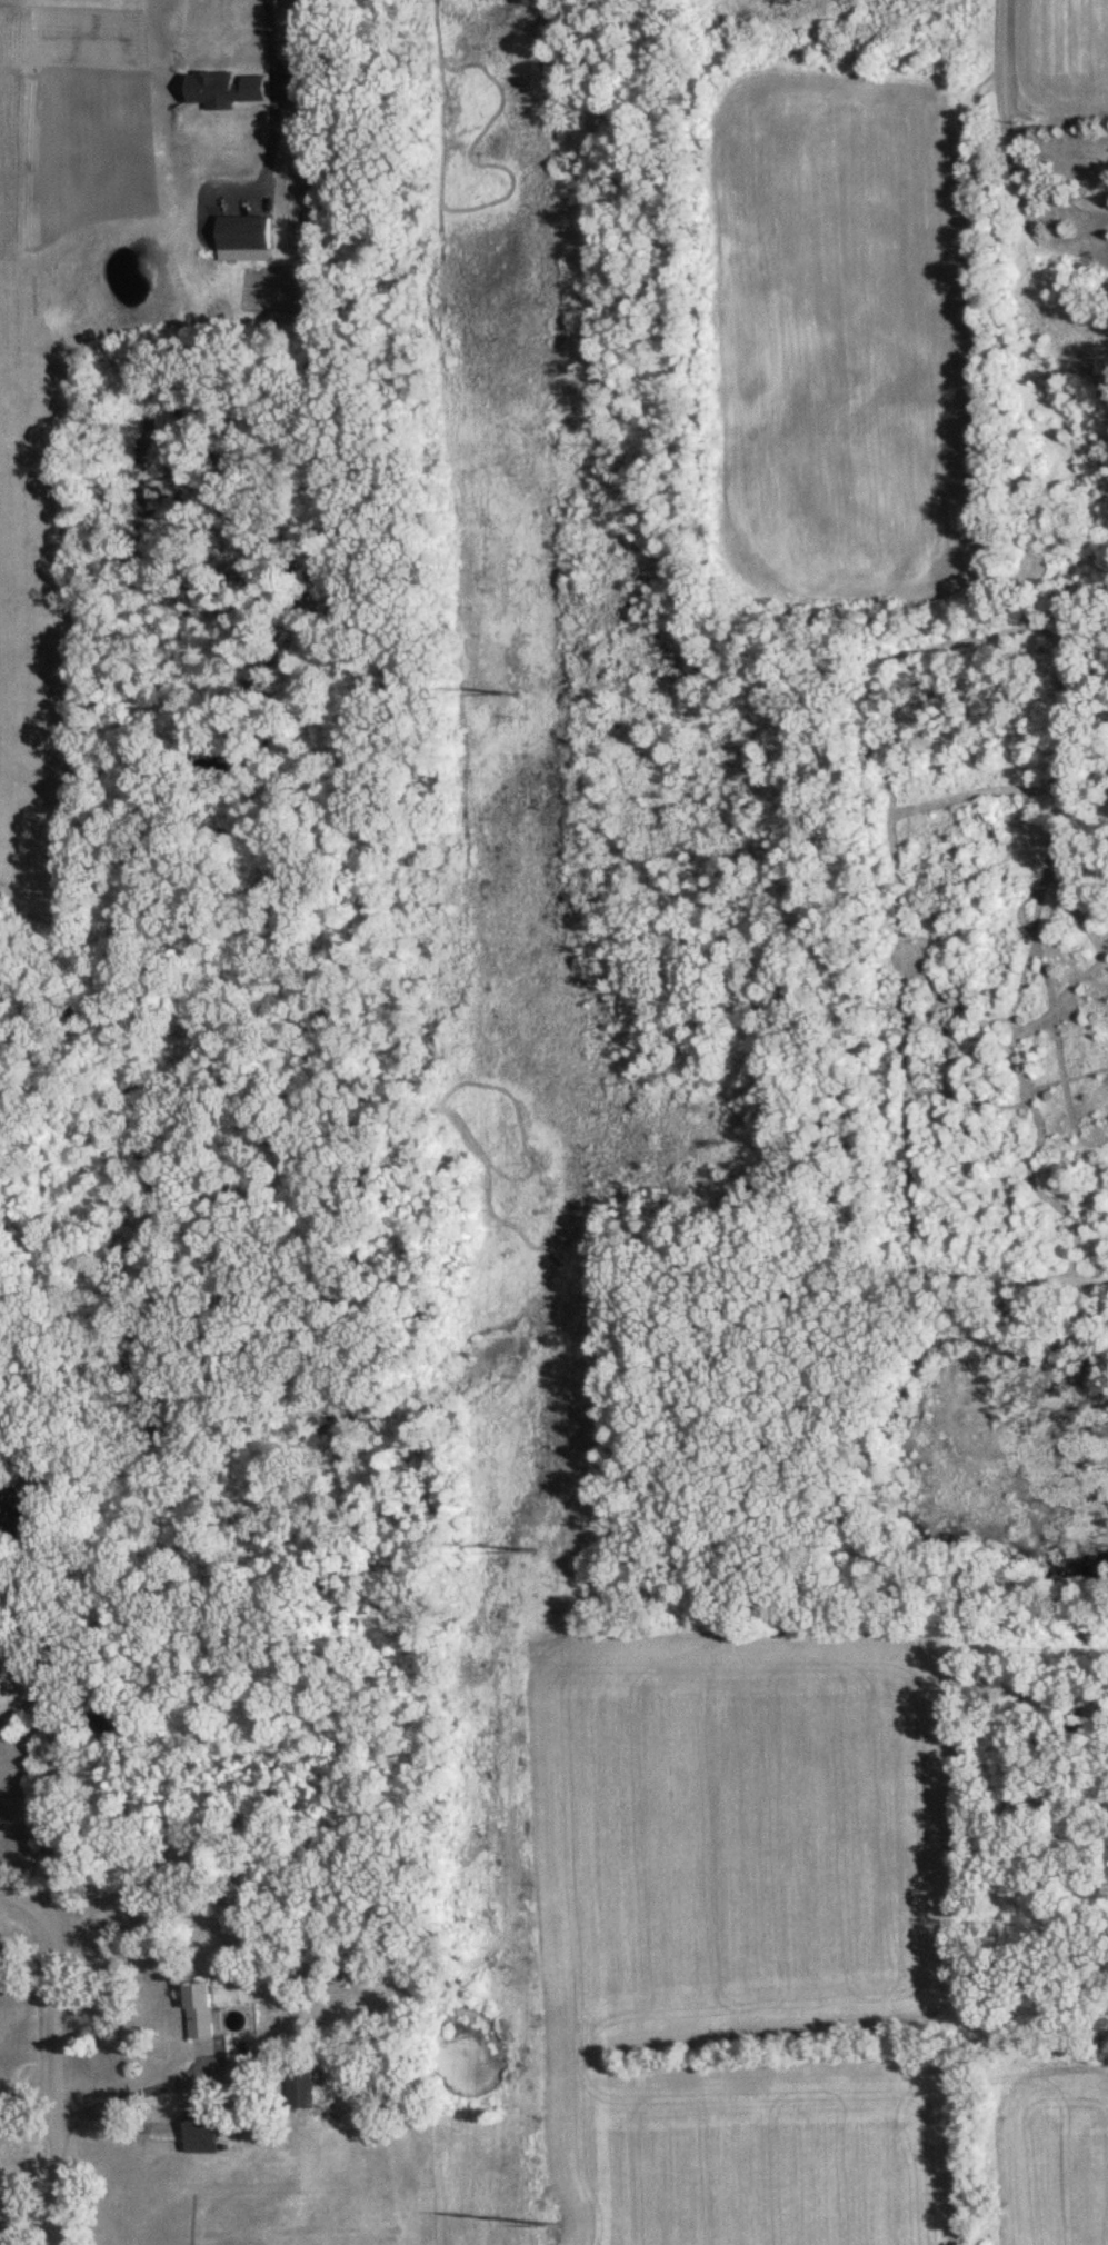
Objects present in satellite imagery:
road: (1005, 68)
road: (276, 94)
road: (1077, 245)
power tower: (517, 695)
building: (10, 1514)
power tower: (532, 1550)
building: (111, 1716)
road: (51, 1819)
building: (198, 2010)
road: (51, 2056)
building: (299, 2088)
road: (130, 2094)
road: (27, 2121)
building: (200, 2132)
power tower: (560, 2226)

